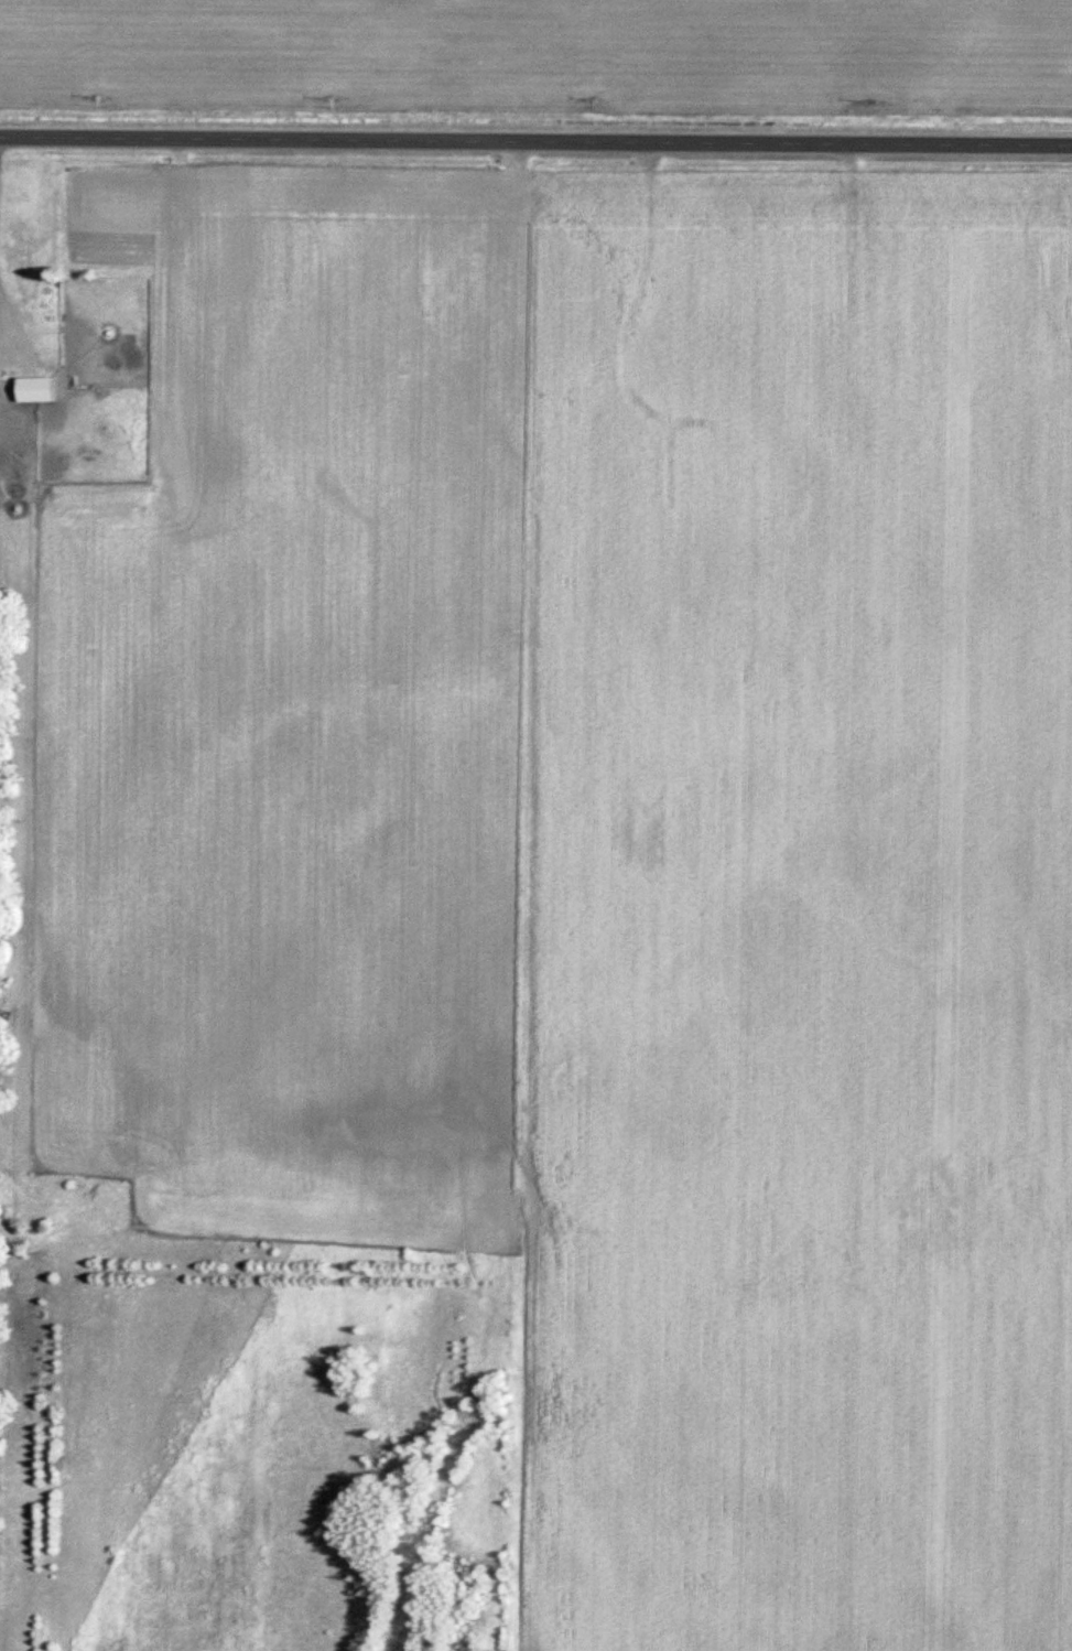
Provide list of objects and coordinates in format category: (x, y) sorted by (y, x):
road: (535, 142)
building: (54, 310)
building: (39, 390)

